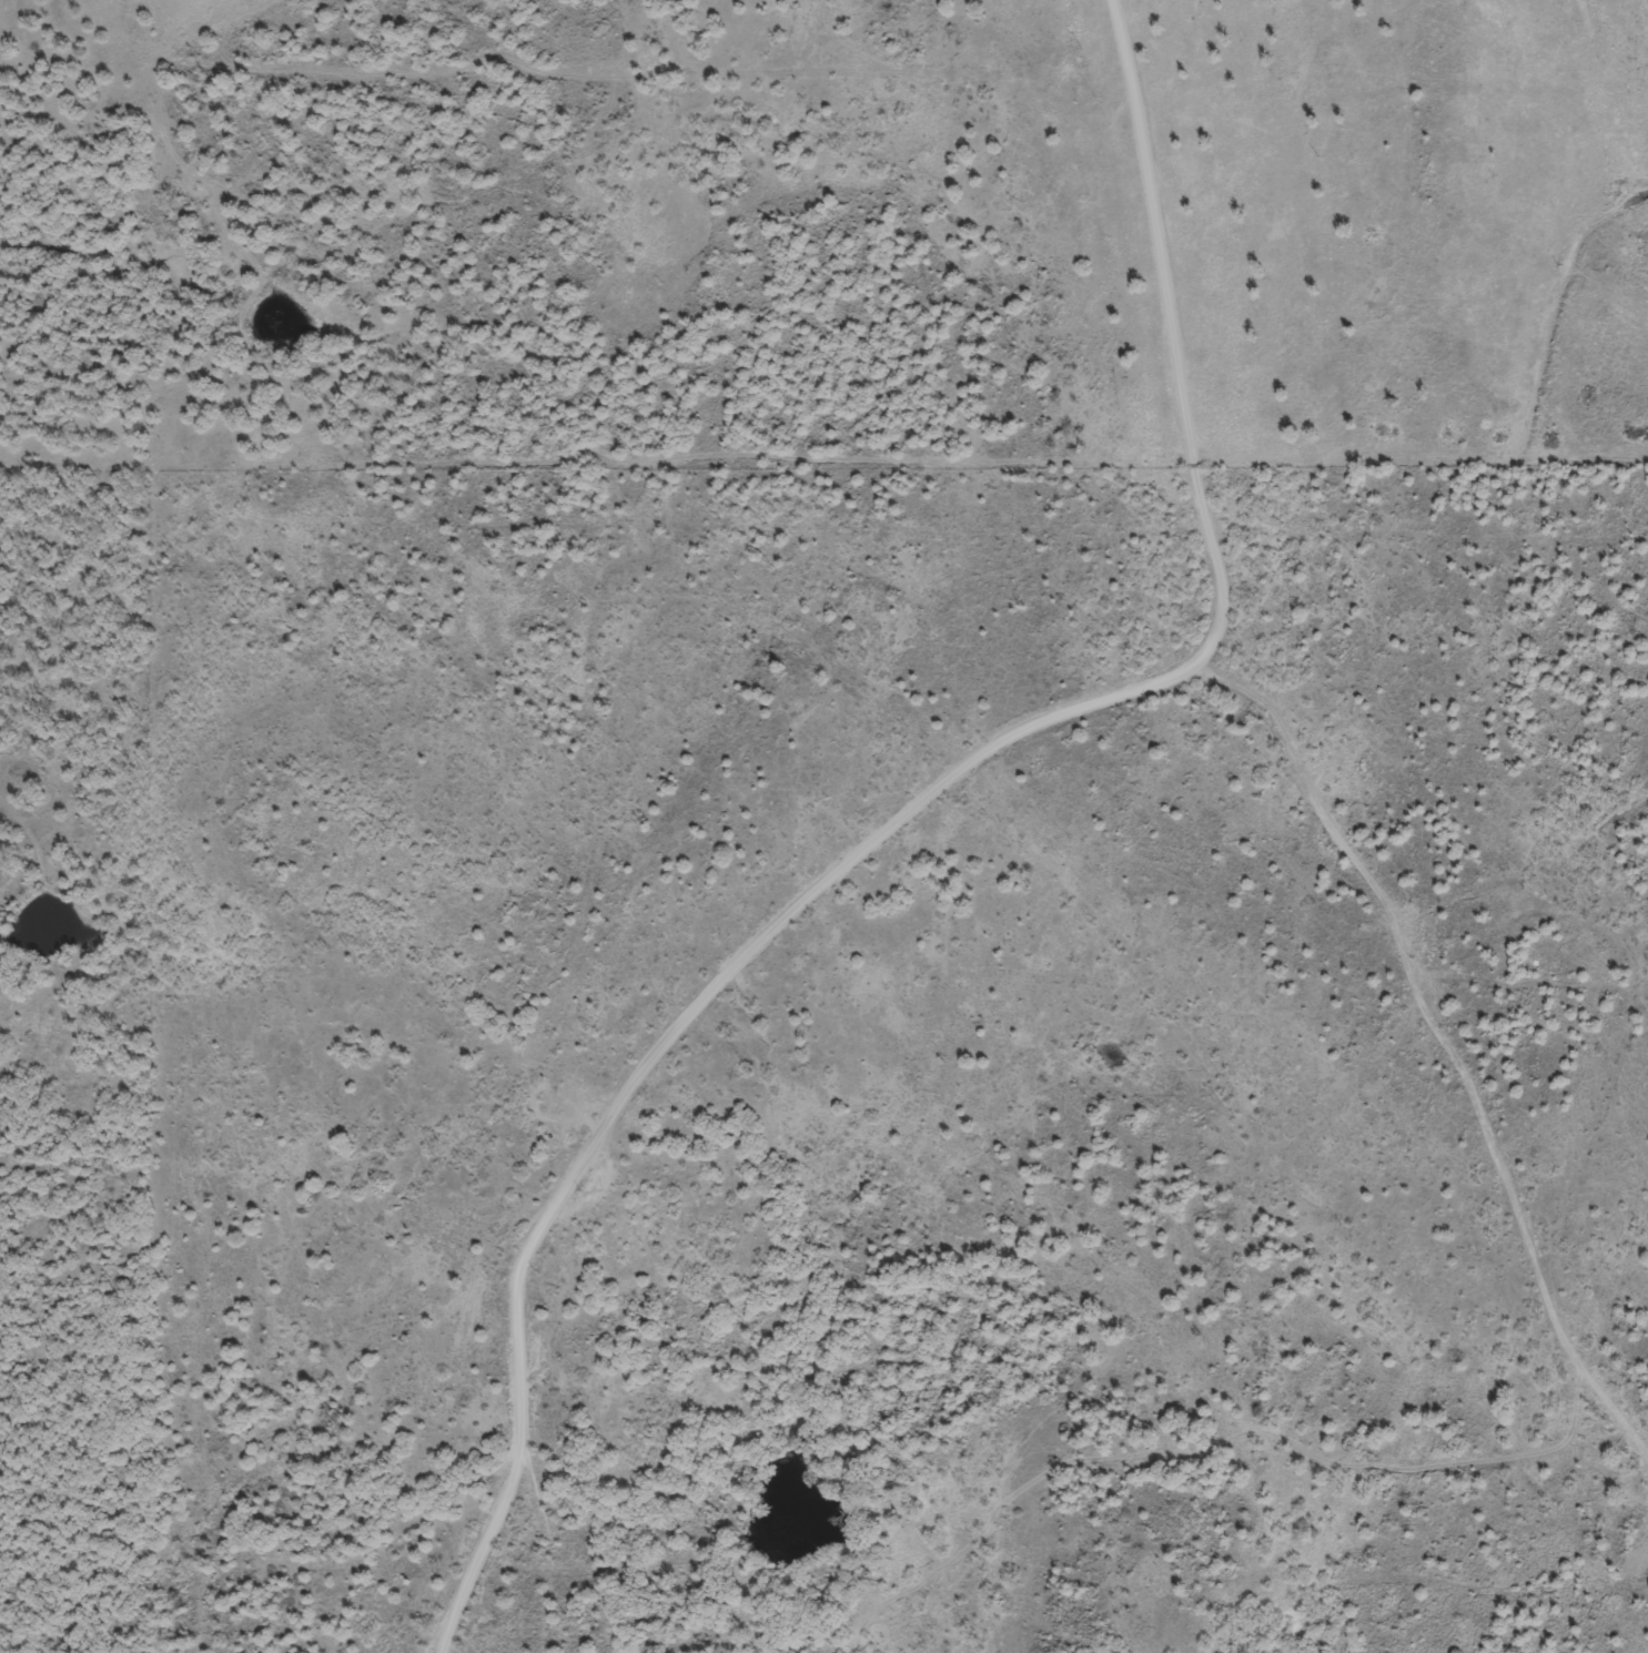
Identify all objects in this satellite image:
road: (913, 809)

